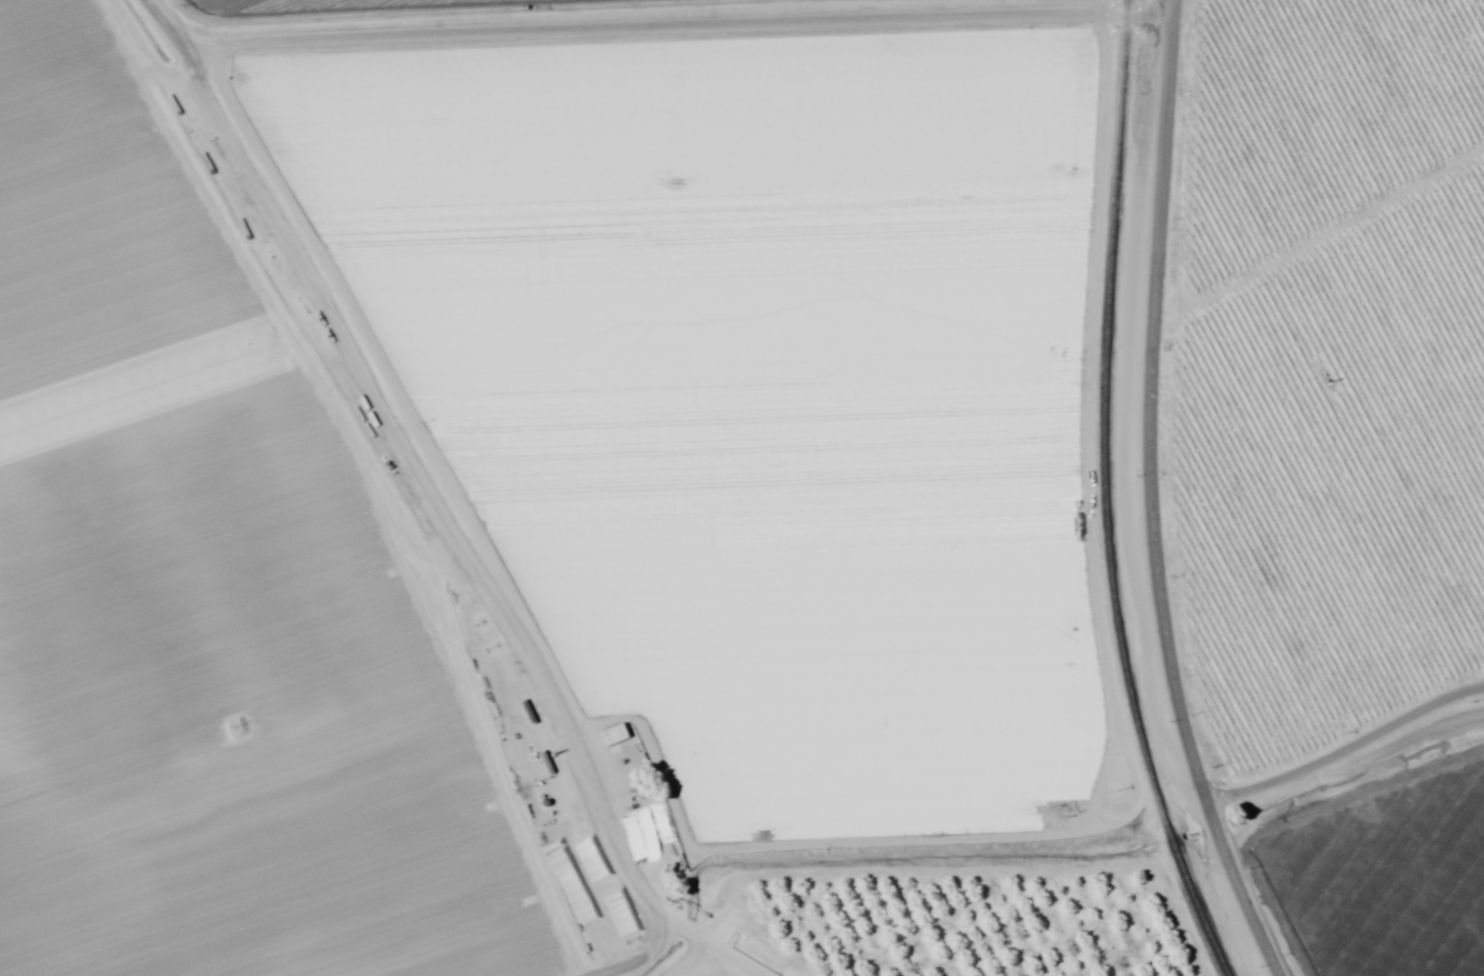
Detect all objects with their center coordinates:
road: (629, 16)
road: (344, 324)
crop: (1335, 458)
crop: (537, 472)
railway: (1110, 493)
road: (1168, 502)
building: (614, 737)
road: (1354, 743)
railway: (1224, 972)

